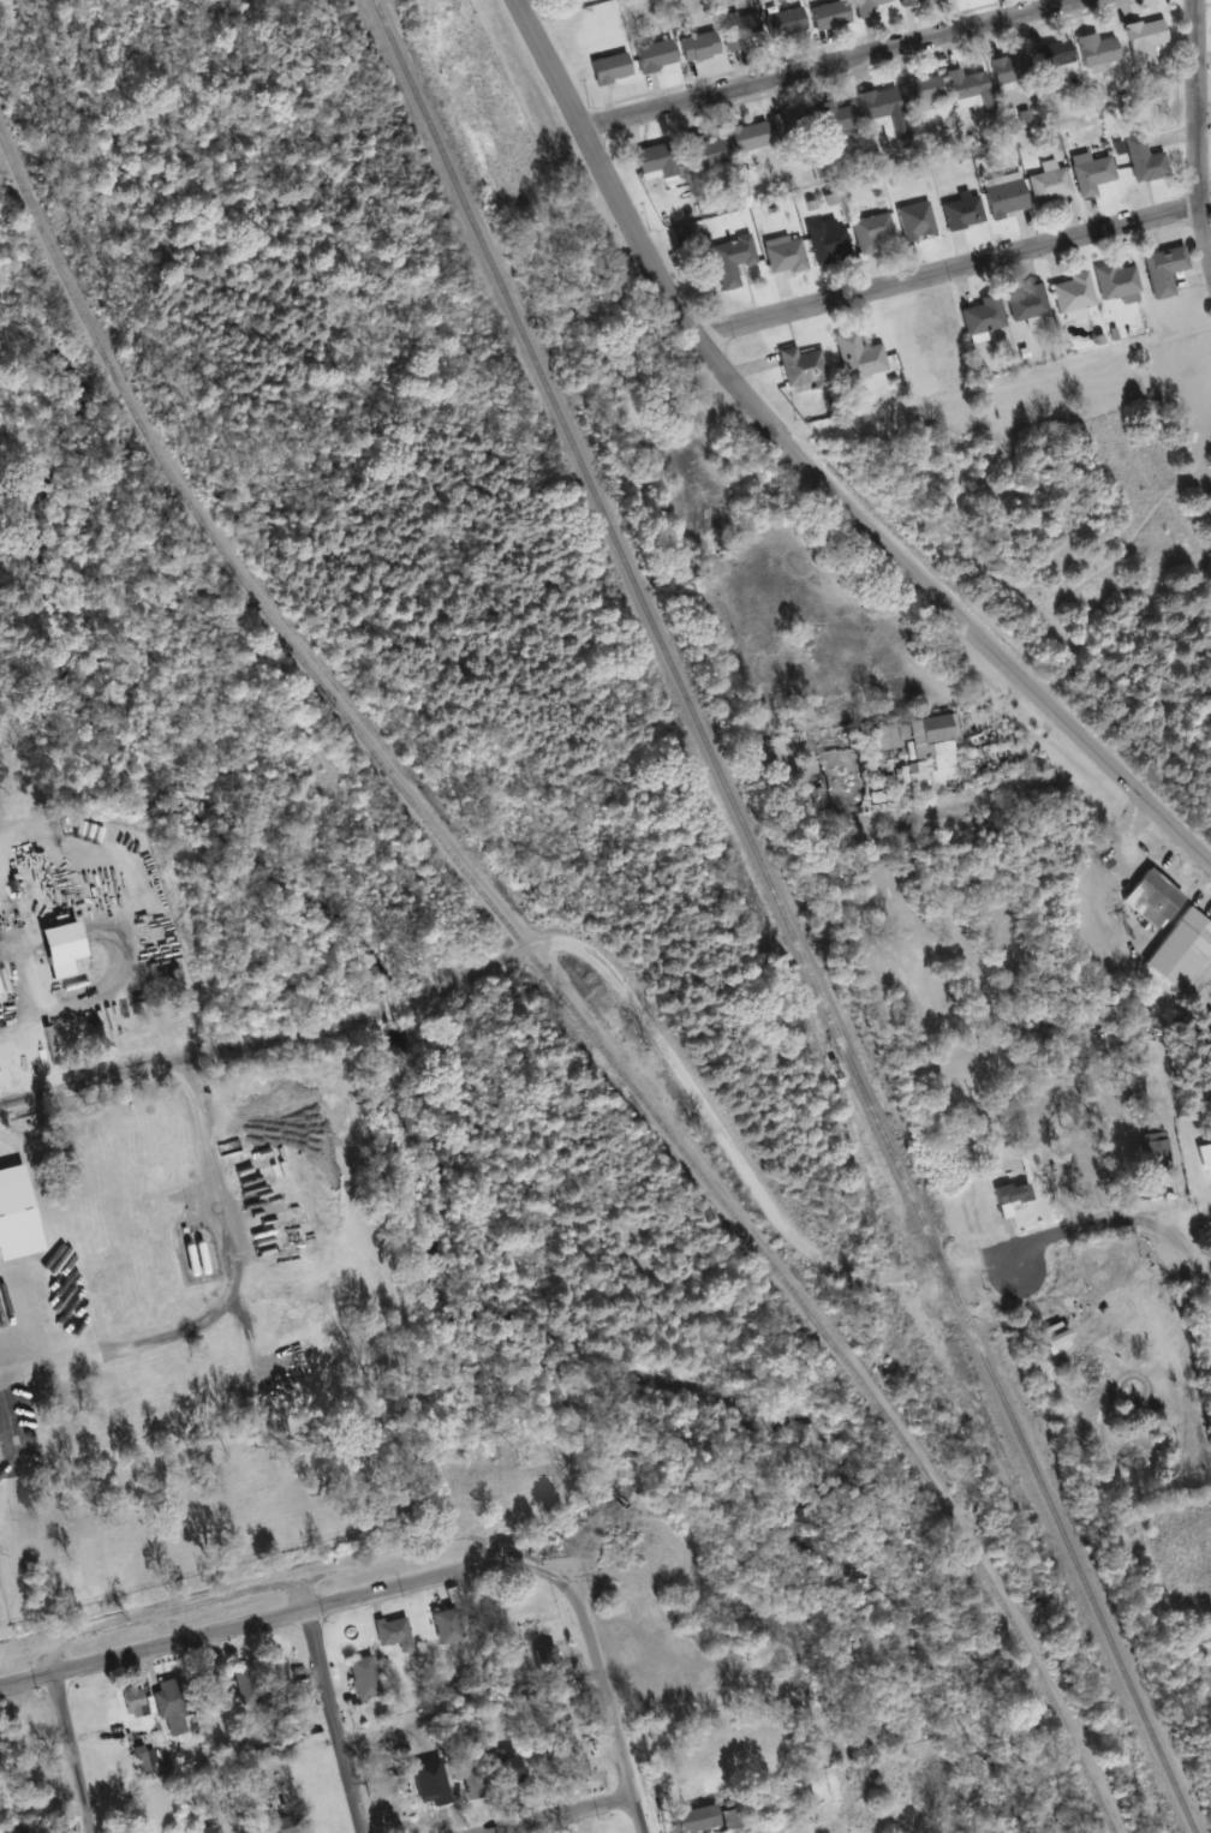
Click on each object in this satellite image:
building: (906, 1)
building: (866, 5)
building: (825, 14)
building: (782, 23)
building: (738, 30)
building: (1141, 41)
building: (696, 46)
building: (1093, 49)
building: (1049, 54)
building: (651, 55)
road: (828, 64)
building: (607, 68)
building: (1006, 68)
building: (966, 88)
building: (919, 89)
building: (877, 102)
building: (834, 117)
building: (791, 123)
road: (1197, 123)
building: (746, 136)
building: (703, 151)
building: (1141, 160)
building: (652, 161)
building: (1088, 173)
building: (1045, 186)
building: (1002, 197)
building: (959, 213)
building: (913, 221)
building: (869, 232)
building: (825, 244)
building: (782, 256)
building: (729, 259)
road: (949, 270)
building: (1159, 270)
building: (1112, 280)
building: (1069, 293)
building: (1025, 303)
building: (980, 316)
building: (855, 356)
building: (799, 368)
road: (811, 468)
building: (918, 746)
building: (56, 886)
building: (1149, 898)
railway: (782, 917)
building: (52, 942)
building: (1180, 950)
railway: (547, 977)
building: (1209, 1033)
road: (661, 1043)
road: (1173, 1152)
building: (1009, 1194)
road: (1176, 1211)
road: (225, 1243)
building: (192, 1259)
road: (91, 1356)
road: (269, 1588)
road: (274, 1619)
building: (443, 1625)
building: (390, 1634)
building: (544, 1659)
building: (273, 1670)
road: (597, 1670)
building: (360, 1677)
road: (26, 1678)
building: (245, 1690)
building: (211, 1691)
building: (130, 1701)
building: (167, 1707)
road: (329, 1707)
road: (72, 1751)
building: (143, 1759)
building: (458, 1768)
building: (503, 1768)
building: (572, 1769)
road: (557, 1815)
building: (691, 1819)
building: (727, 1819)
building: (279, 1825)

